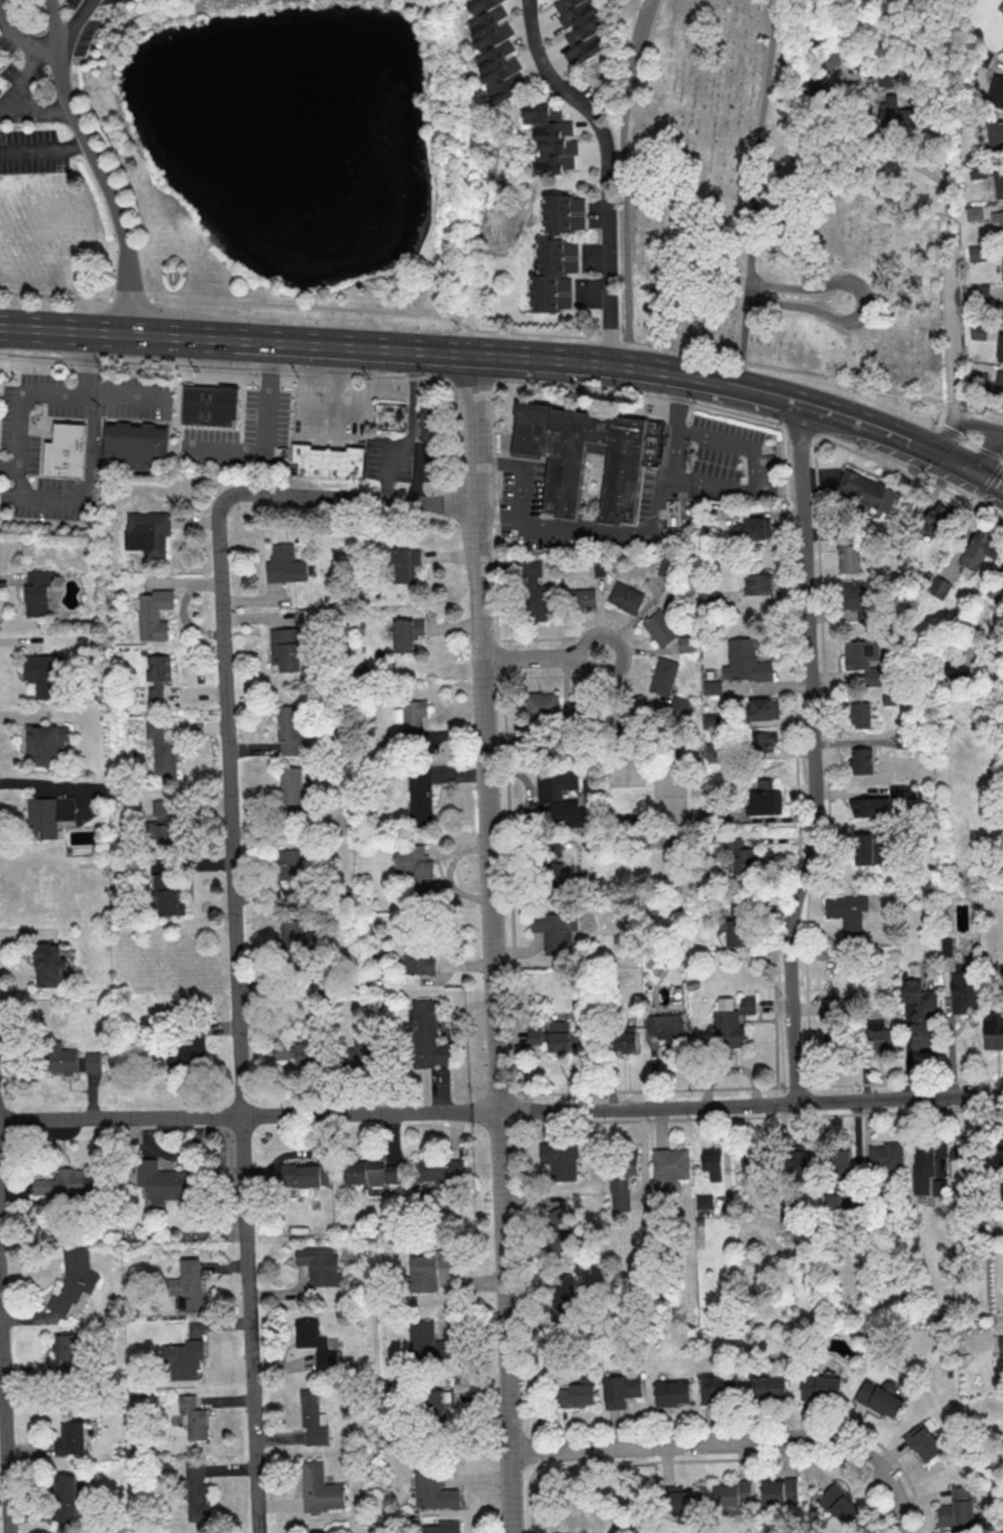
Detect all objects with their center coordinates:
building: (1002, 13)
road: (56, 29)
building: (580, 29)
parking lot: (639, 35)
road: (21, 38)
building: (1002, 52)
building: (0, 63)
building: (824, 68)
road: (21, 81)
building: (996, 91)
building: (1, 93)
road: (33, 110)
building: (898, 114)
building: (995, 135)
building: (550, 138)
road: (43, 150)
road: (96, 161)
road: (608, 170)
building: (977, 171)
road: (624, 181)
building: (998, 183)
road: (746, 192)
road: (755, 193)
park: (759, 210)
road: (951, 213)
building: (974, 213)
building: (561, 214)
building: (997, 219)
building: (977, 253)
building: (1002, 267)
building: (554, 275)
building: (980, 292)
road: (862, 302)
building: (998, 311)
road: (502, 331)
building: (978, 331)
road: (183, 336)
building: (1000, 348)
road: (421, 352)
road: (600, 365)
road: (337, 378)
road: (512, 380)
building: (979, 380)
building: (999, 383)
road: (750, 390)
road: (55, 395)
road: (778, 397)
parking lot: (137, 398)
building: (212, 406)
parking lot: (332, 410)
road: (332, 410)
building: (392, 417)
road: (411, 422)
road: (859, 422)
building: (429, 423)
road: (962, 424)
parking lot: (245, 434)
road: (266, 435)
road: (958, 438)
building: (138, 445)
parking lot: (37, 449)
building: (66, 452)
road: (990, 452)
traffic signals: (936, 453)
parking lot: (391, 458)
building: (633, 461)
building: (332, 462)
parking lot: (428, 463)
road: (957, 463)
road: (91, 466)
road: (417, 471)
road: (751, 472)
traffic signals: (979, 474)
road: (990, 481)
road: (988, 483)
road: (521, 488)
building: (867, 491)
road: (353, 498)
building: (938, 519)
road: (653, 520)
building: (750, 529)
building: (148, 534)
building: (981, 548)
building: (849, 552)
building: (403, 565)
building: (284, 566)
building: (1001, 577)
building: (759, 584)
building: (939, 587)
building: (534, 591)
building: (37, 592)
building: (854, 594)
building: (581, 598)
building: (625, 598)
building: (707, 599)
building: (155, 614)
building: (660, 627)
building: (406, 633)
building: (687, 643)
building: (286, 649)
road: (543, 656)
building: (866, 660)
building: (745, 661)
building: (953, 669)
building: (42, 674)
building: (663, 676)
building: (158, 677)
building: (712, 687)
building: (541, 705)
building: (679, 707)
building: (762, 708)
building: (632, 711)
building: (577, 712)
building: (860, 715)
building: (290, 729)
building: (762, 741)
building: (47, 743)
building: (163, 747)
road: (814, 750)
building: (861, 760)
building: (589, 784)
road: (50, 785)
building: (290, 785)
building: (903, 791)
building: (420, 793)
building: (766, 798)
building: (559, 800)
building: (870, 807)
building: (49, 814)
building: (166, 824)
building: (553, 847)
building: (866, 849)
building: (740, 855)
building: (415, 866)
building: (292, 873)
building: (557, 876)
building: (168, 894)
building: (847, 911)
building: (555, 931)
building: (736, 932)
building: (296, 939)
road: (492, 943)
road: (513, 955)
building: (420, 958)
building: (49, 964)
building: (1000, 974)
building: (962, 990)
building: (747, 1004)
building: (827, 1007)
building: (921, 1014)
road: (238, 1015)
building: (727, 1024)
building: (667, 1028)
building: (993, 1031)
building: (427, 1035)
building: (534, 1036)
building: (558, 1036)
building: (877, 1036)
building: (623, 1039)
building: (299, 1052)
building: (187, 1053)
building: (69, 1059)
road: (760, 1087)
road: (501, 1112)
building: (885, 1156)
building: (997, 1158)
building: (560, 1159)
building: (747, 1162)
building: (843, 1162)
building: (961, 1162)
building: (713, 1163)
building: (798, 1164)
building: (923, 1168)
building: (667, 1170)
building: (440, 1171)
building: (305, 1175)
building: (372, 1175)
building: (623, 1180)
building: (164, 1183)
building: (66, 1184)
building: (1002, 1191)
building: (831, 1200)
building: (703, 1201)
building: (559, 1230)
building: (320, 1266)
building: (428, 1269)
building: (72, 1282)
building: (192, 1284)
building: (563, 1294)
building: (426, 1342)
building: (315, 1343)
building: (1000, 1344)
building: (69, 1353)
building: (182, 1361)
building: (821, 1387)
building: (766, 1389)
building: (716, 1390)
building: (620, 1391)
building: (670, 1395)
building: (577, 1396)
road: (5, 1398)
building: (879, 1399)
building: (436, 1403)
building: (191, 1419)
building: (313, 1420)
building: (71, 1438)
building: (923, 1441)
road: (732, 1443)
building: (319, 1490)
building: (779, 1491)
building: (432, 1492)
building: (196, 1493)
building: (733, 1494)
building: (680, 1500)
building: (68, 1501)
park: (593, 1501)
building: (840, 1505)
building: (957, 1509)
building: (443, 1528)
building: (318, 1532)

